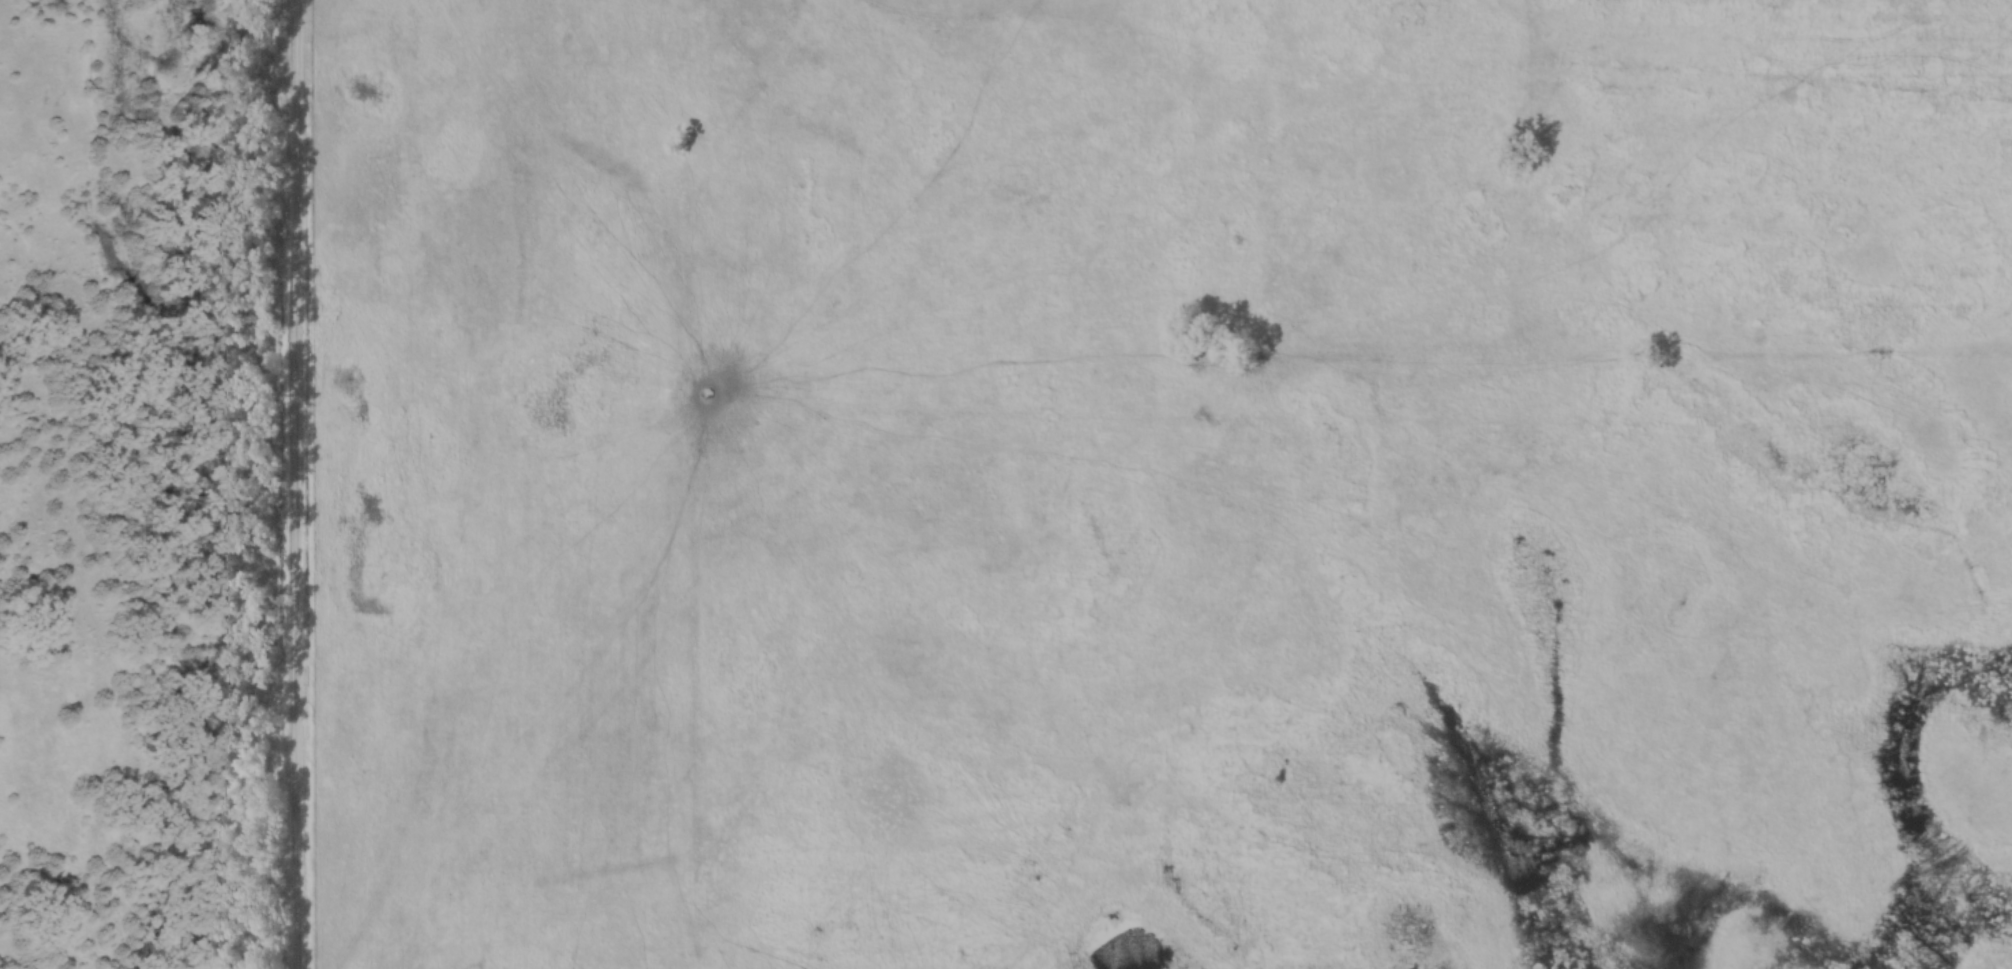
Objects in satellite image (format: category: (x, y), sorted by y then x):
road: (295, 484)

